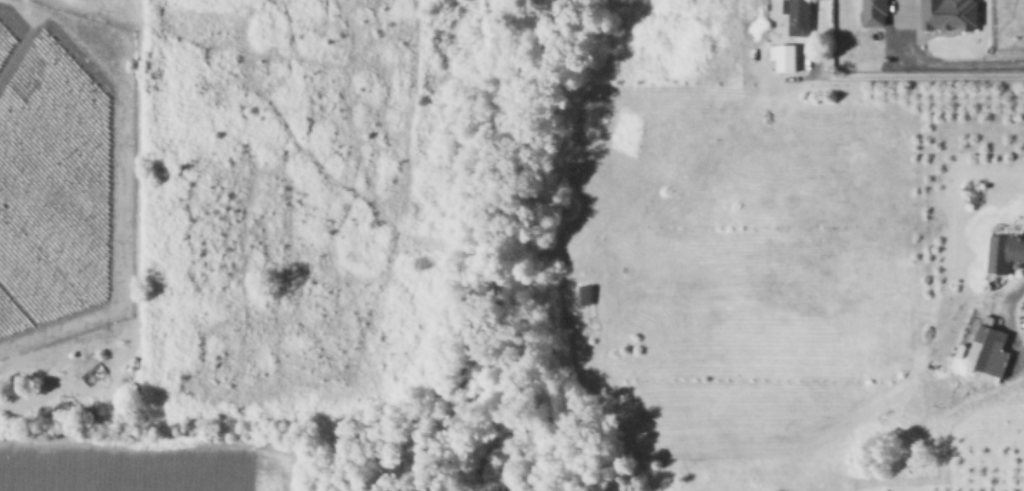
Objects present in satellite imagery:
building: (878, 12)
building: (952, 13)
building: (800, 16)
building: (786, 56)
road: (952, 57)
road: (914, 68)
building: (1006, 252)
building: (588, 294)
building: (991, 348)

